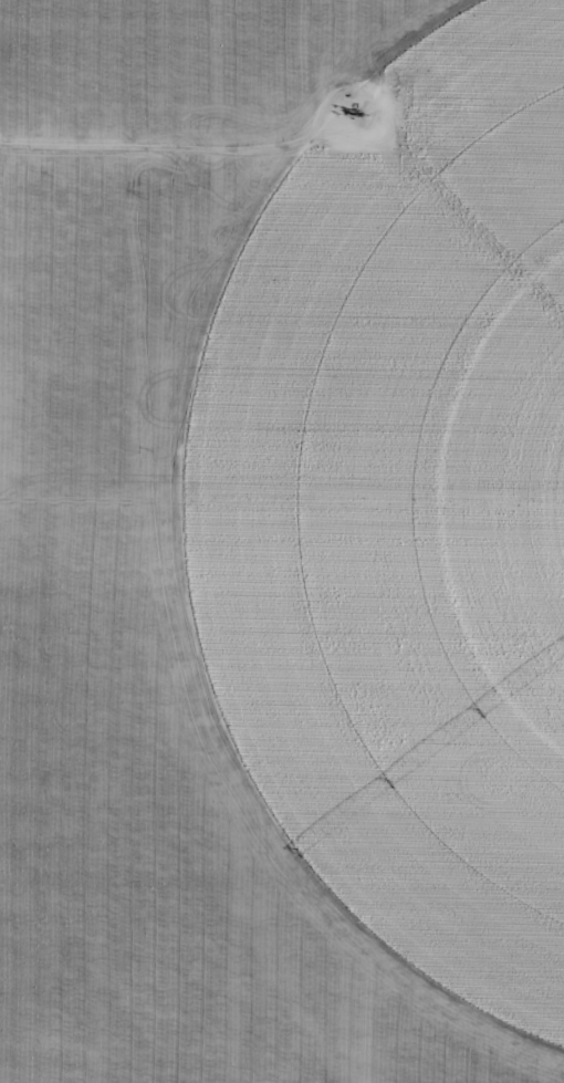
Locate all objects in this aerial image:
petroleum well: (353, 114)

